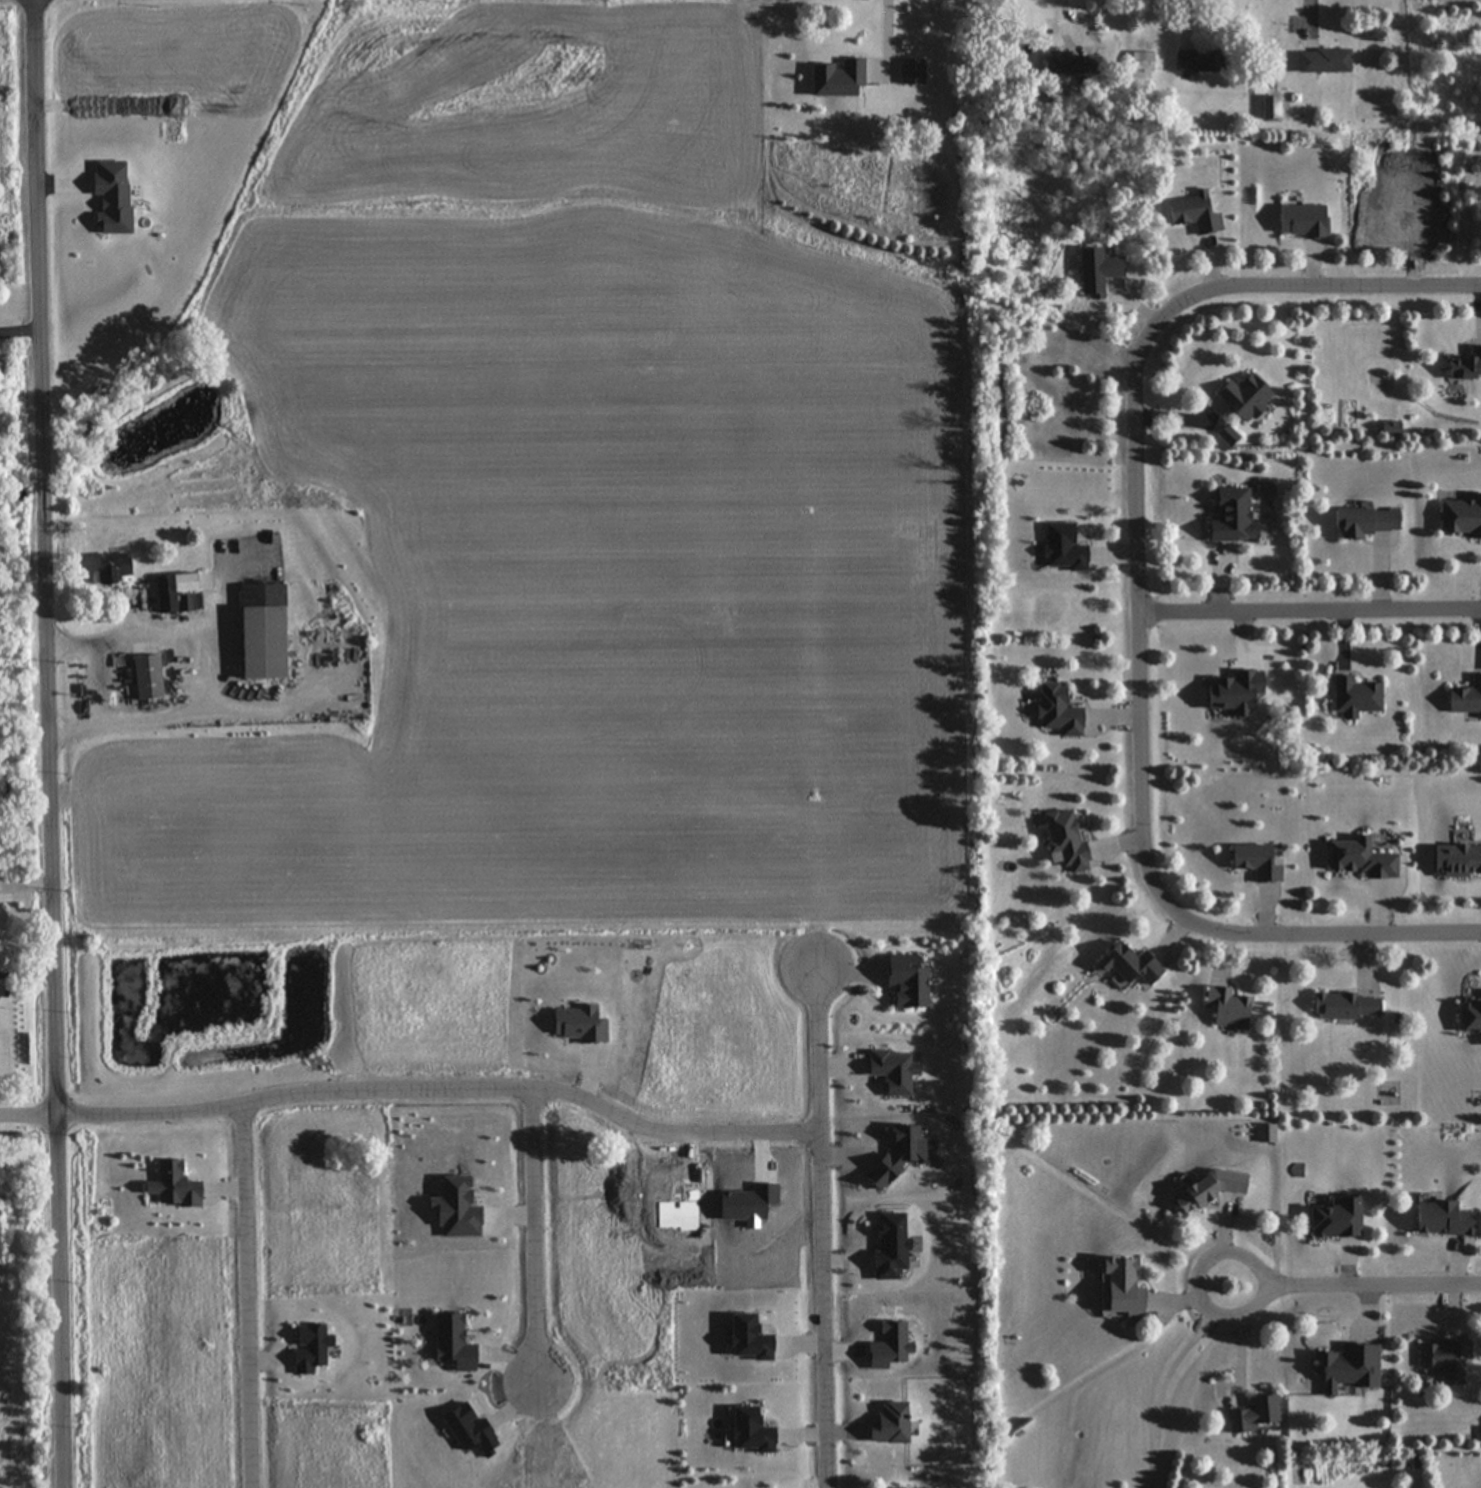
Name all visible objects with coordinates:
building: (1135, 62)
building: (1198, 63)
building: (1324, 63)
building: (1068, 65)
building: (1193, 214)
building: (1094, 273)
road: (21, 330)
building: (1465, 366)
building: (1242, 396)
building: (1229, 516)
building: (1460, 516)
building: (1358, 521)
building: (110, 567)
building: (173, 591)
road: (1308, 603)
road: (1136, 604)
building: (259, 631)
road: (161, 634)
building: (144, 676)
building: (1353, 696)
building: (1466, 697)
building: (1055, 710)
road: (187, 716)
road: (49, 744)
building: (1063, 841)
building: (1456, 861)
building: (1253, 862)
building: (1126, 964)
building: (1345, 1006)
building: (1226, 1008)
building: (1469, 1017)
road: (414, 1093)
building: (1207, 1188)
building: (1334, 1218)
building: (1441, 1219)
road: (823, 1224)
road: (534, 1244)
building: (1119, 1289)
road: (1352, 1290)
road: (251, 1295)
building: (1443, 1359)
building: (1345, 1368)
road: (1162, 1380)
building: (1251, 1415)
building: (888, 1424)
building: (887, 1486)

